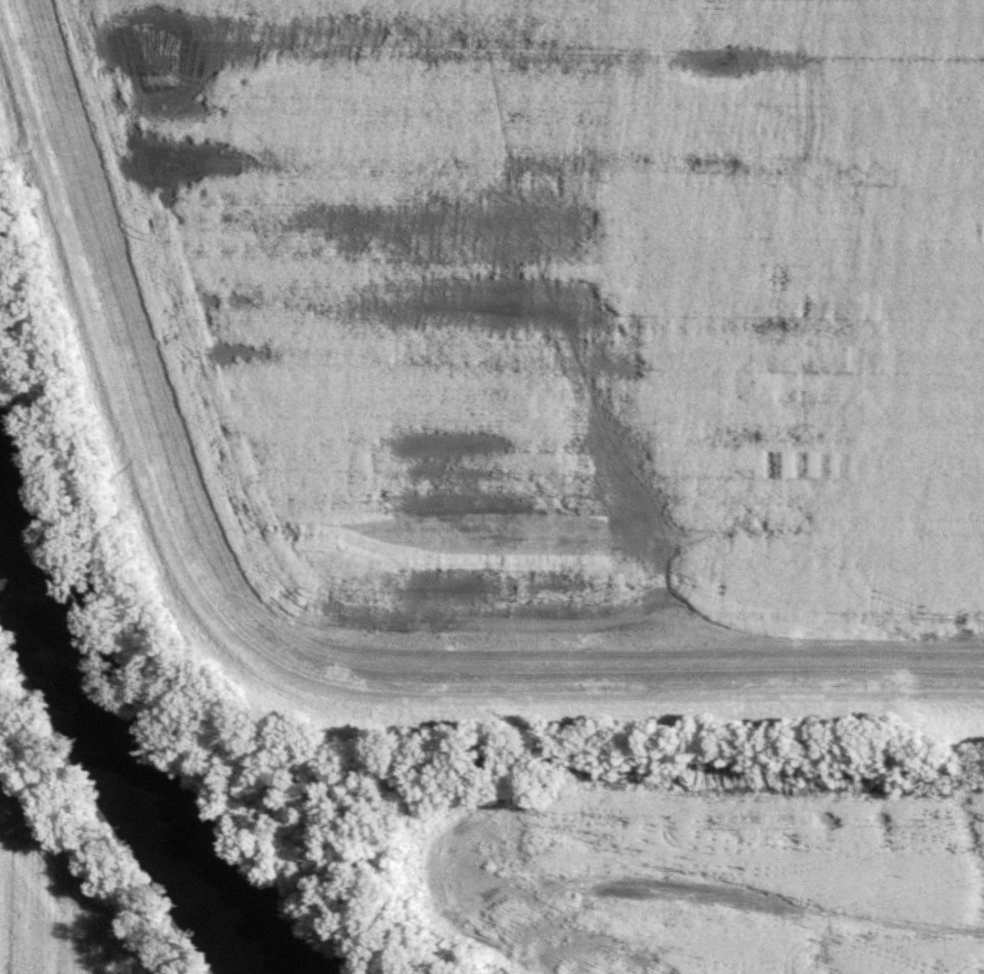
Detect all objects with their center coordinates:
crop: (560, 285)
river: (122, 737)

